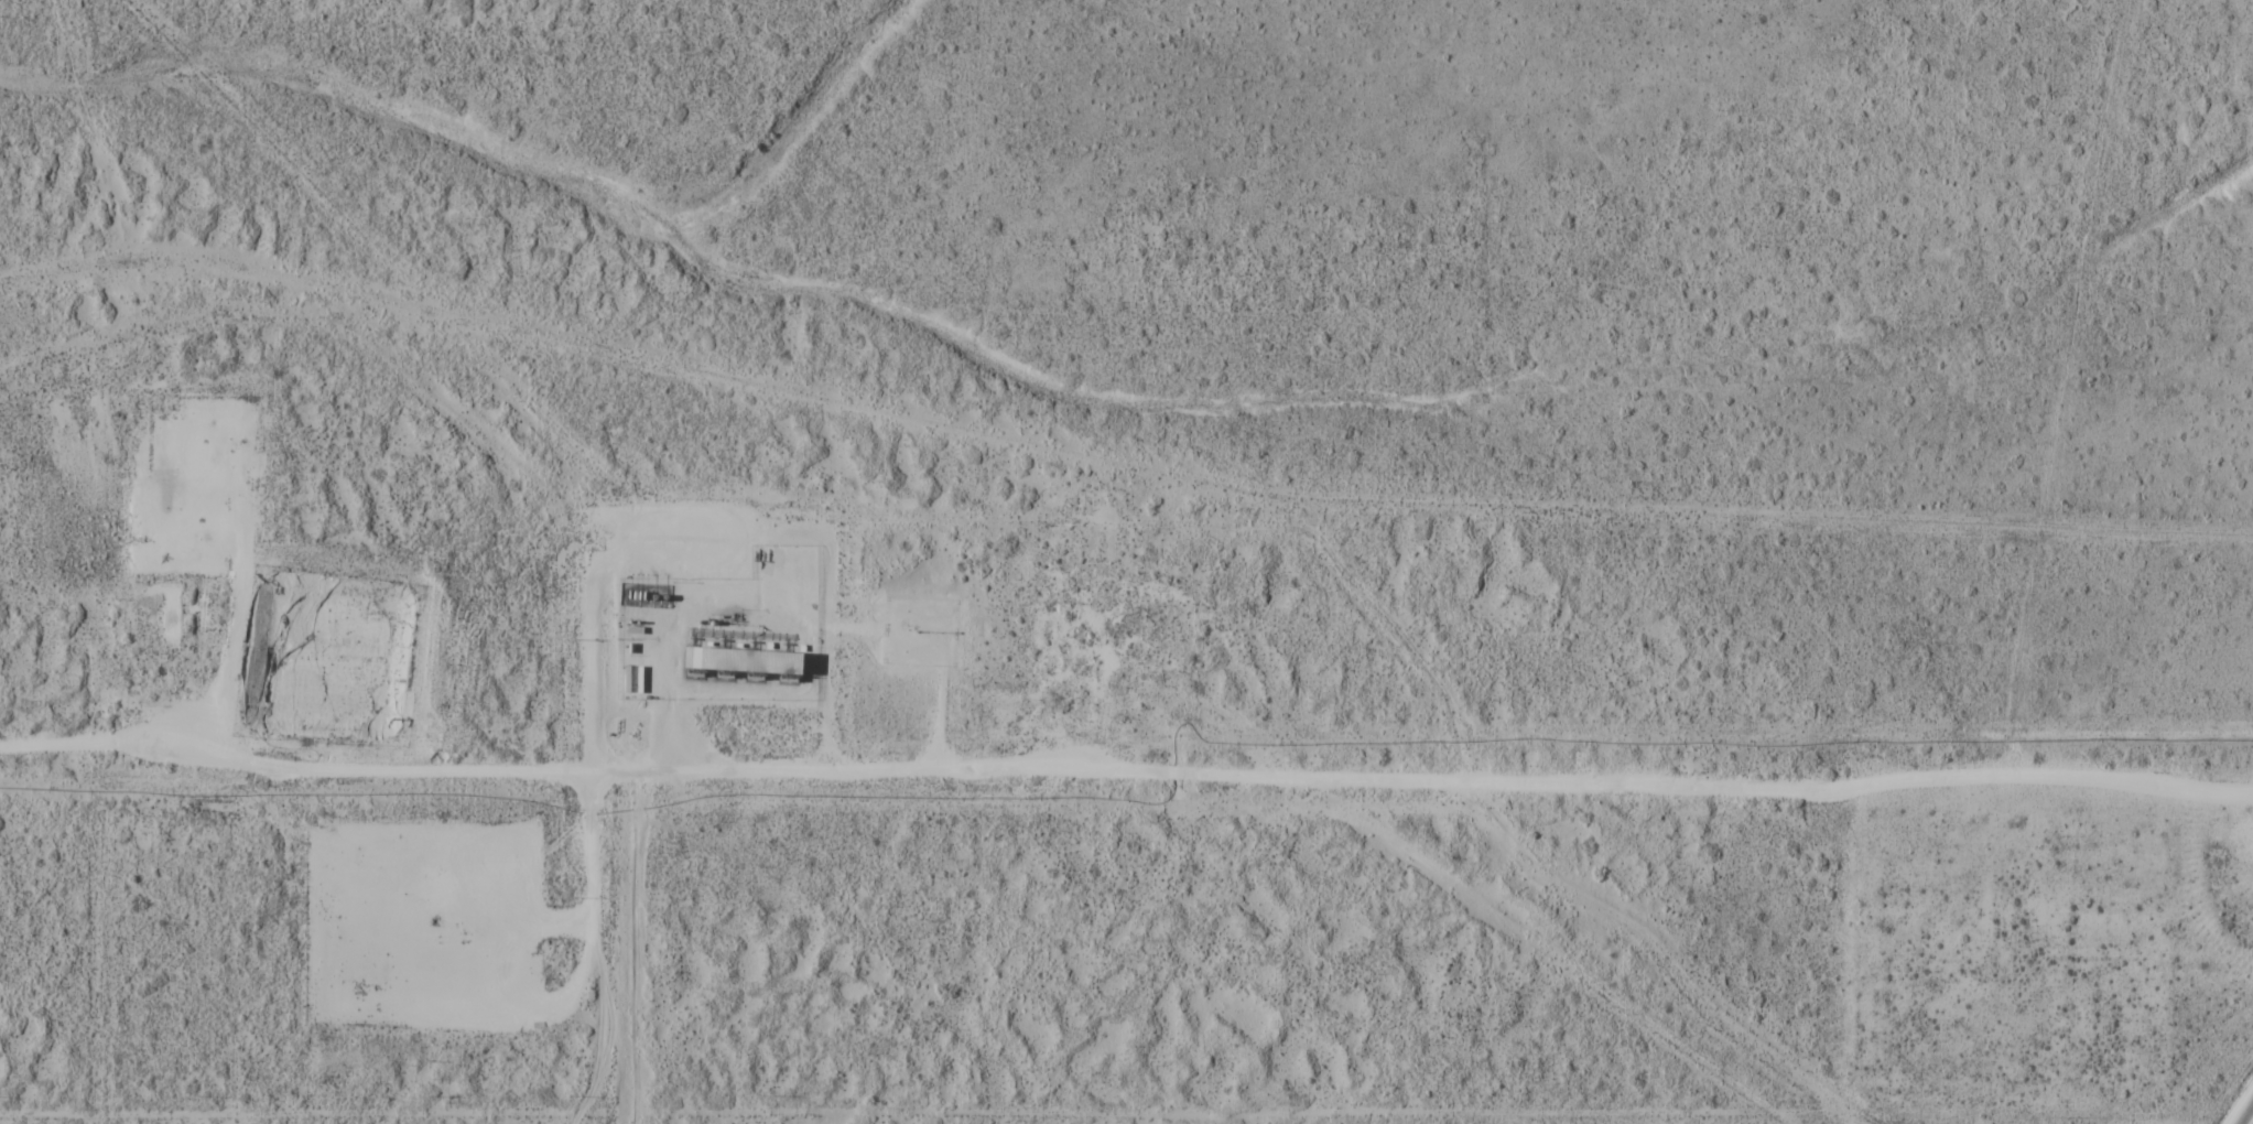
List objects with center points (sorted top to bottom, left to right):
road: (246, 542)
road: (716, 639)
road: (943, 656)
road: (1126, 771)
road: (572, 1009)

